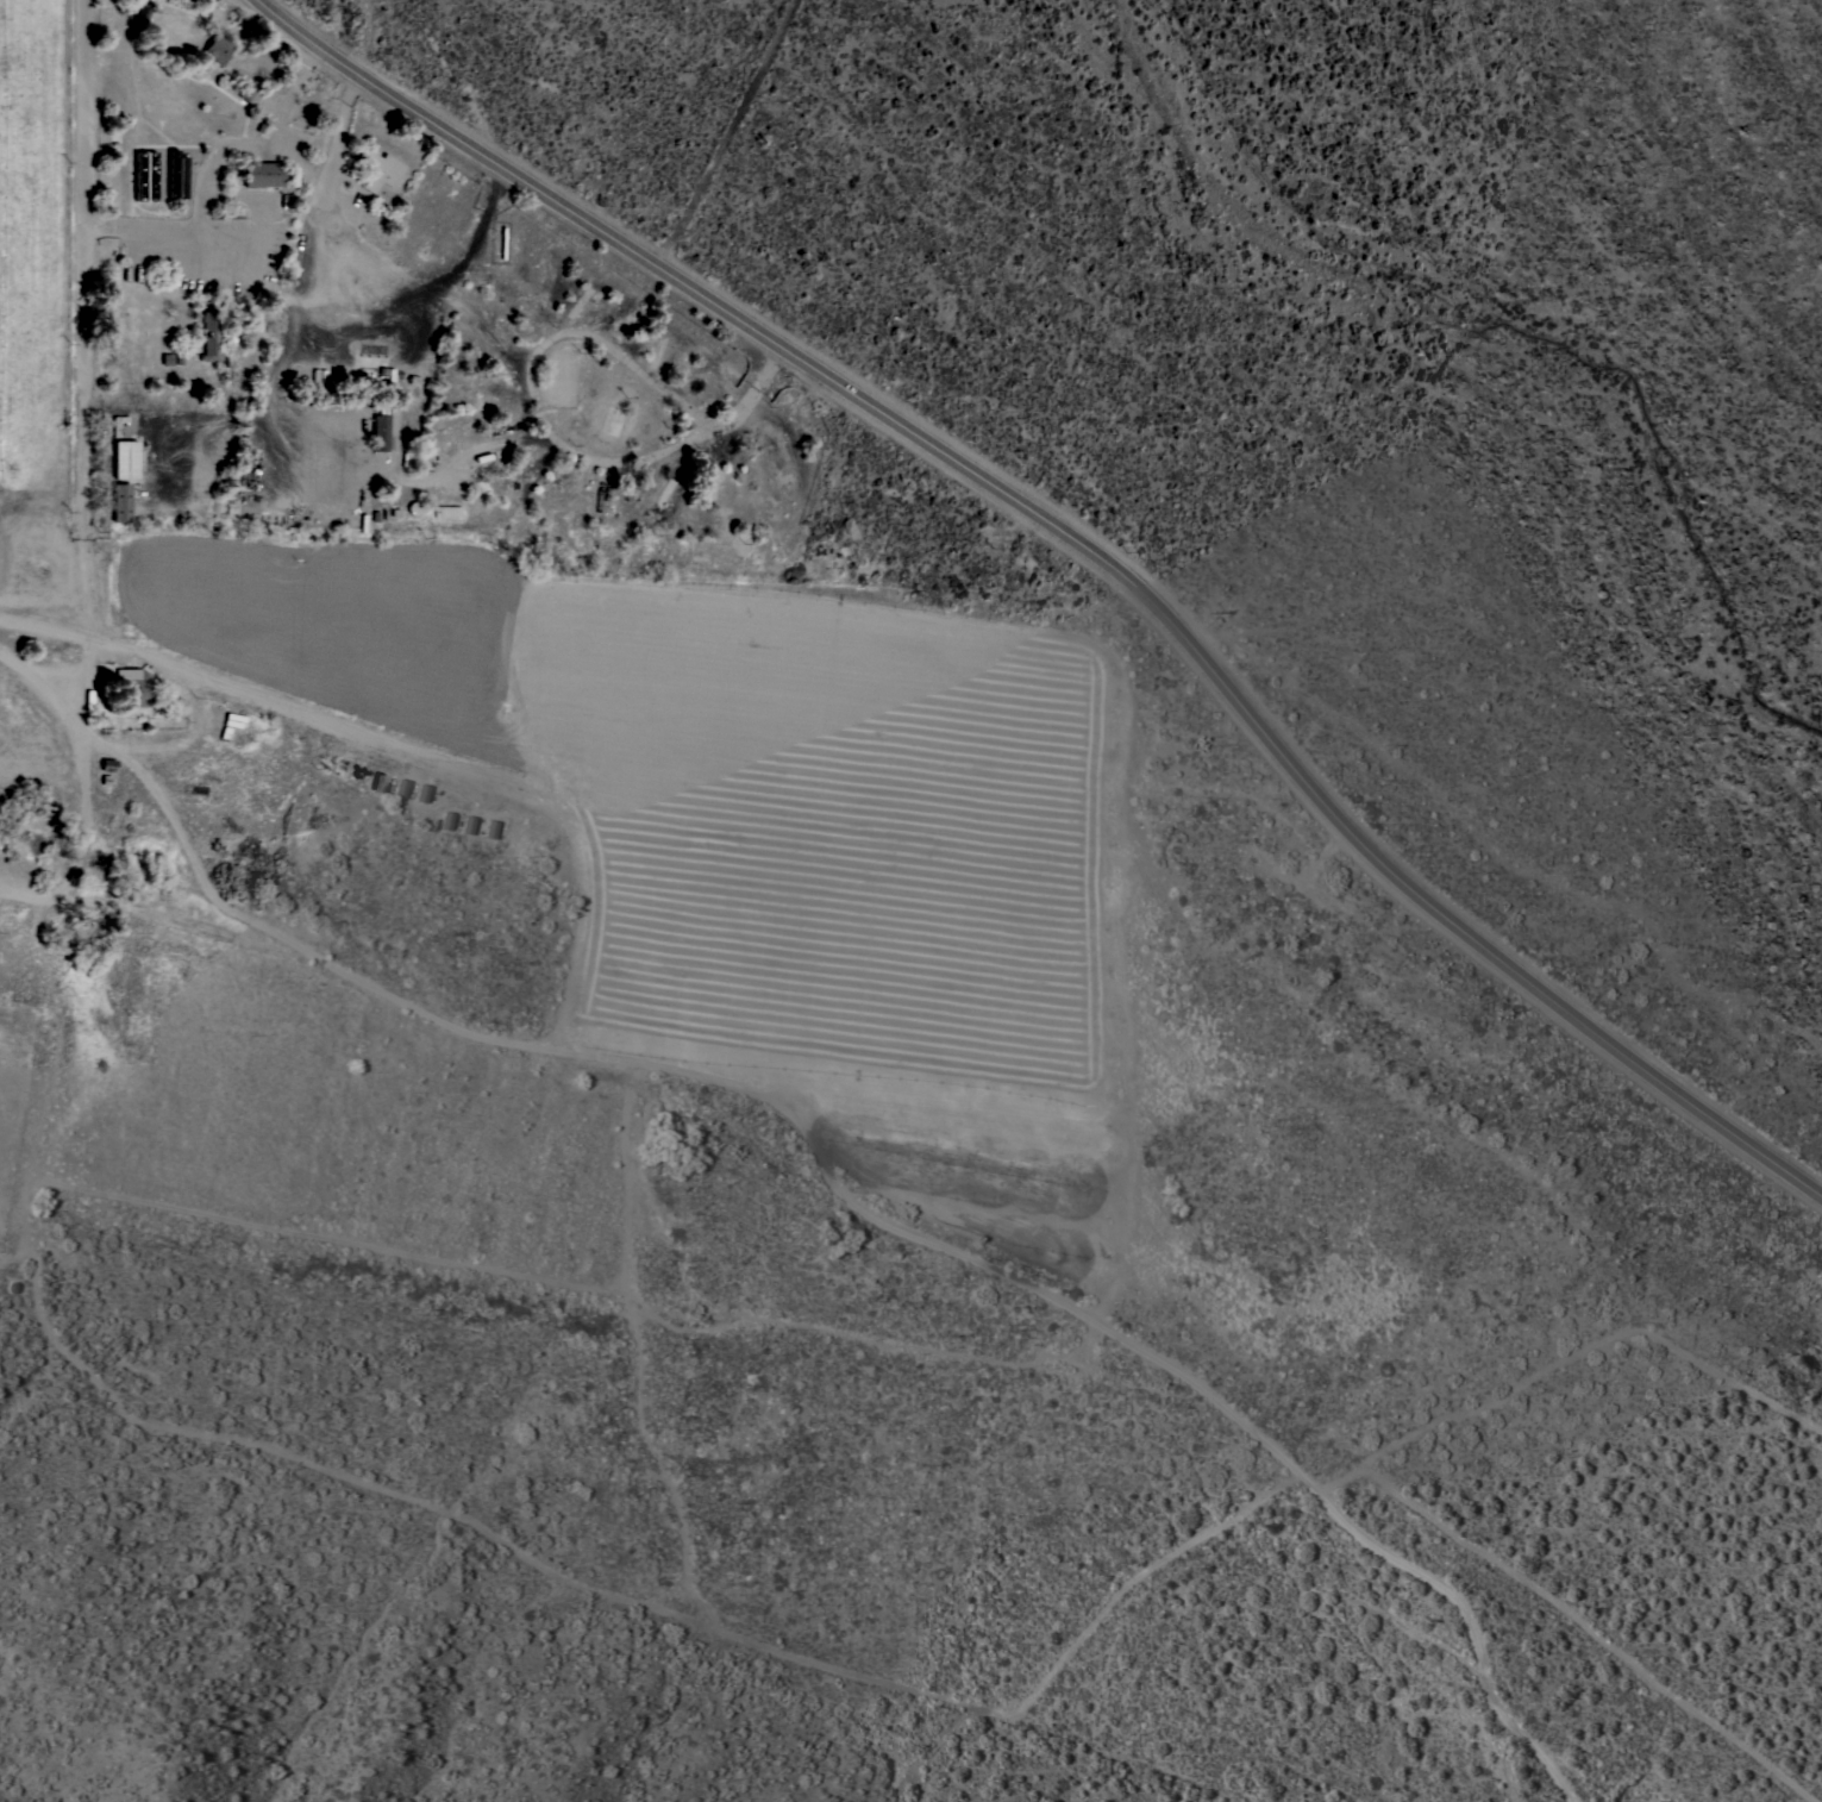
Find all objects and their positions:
building: (213, 51)
building: (249, 93)
road: (280, 121)
building: (377, 168)
building: (263, 174)
road: (433, 283)
road: (306, 286)
building: (209, 337)
road: (87, 373)
building: (388, 383)
road: (274, 394)
road: (543, 426)
building: (380, 432)
building: (125, 458)
building: (120, 502)
building: (414, 507)
building: (445, 512)
road: (1081, 549)
road: (46, 628)
road: (45, 676)
building: (134, 690)
building: (108, 764)
building: (378, 782)
building: (401, 788)
building: (422, 791)
building: (447, 820)
building: (469, 824)
building: (491, 828)
road: (81, 850)
crop: (574, 871)
road: (580, 969)

